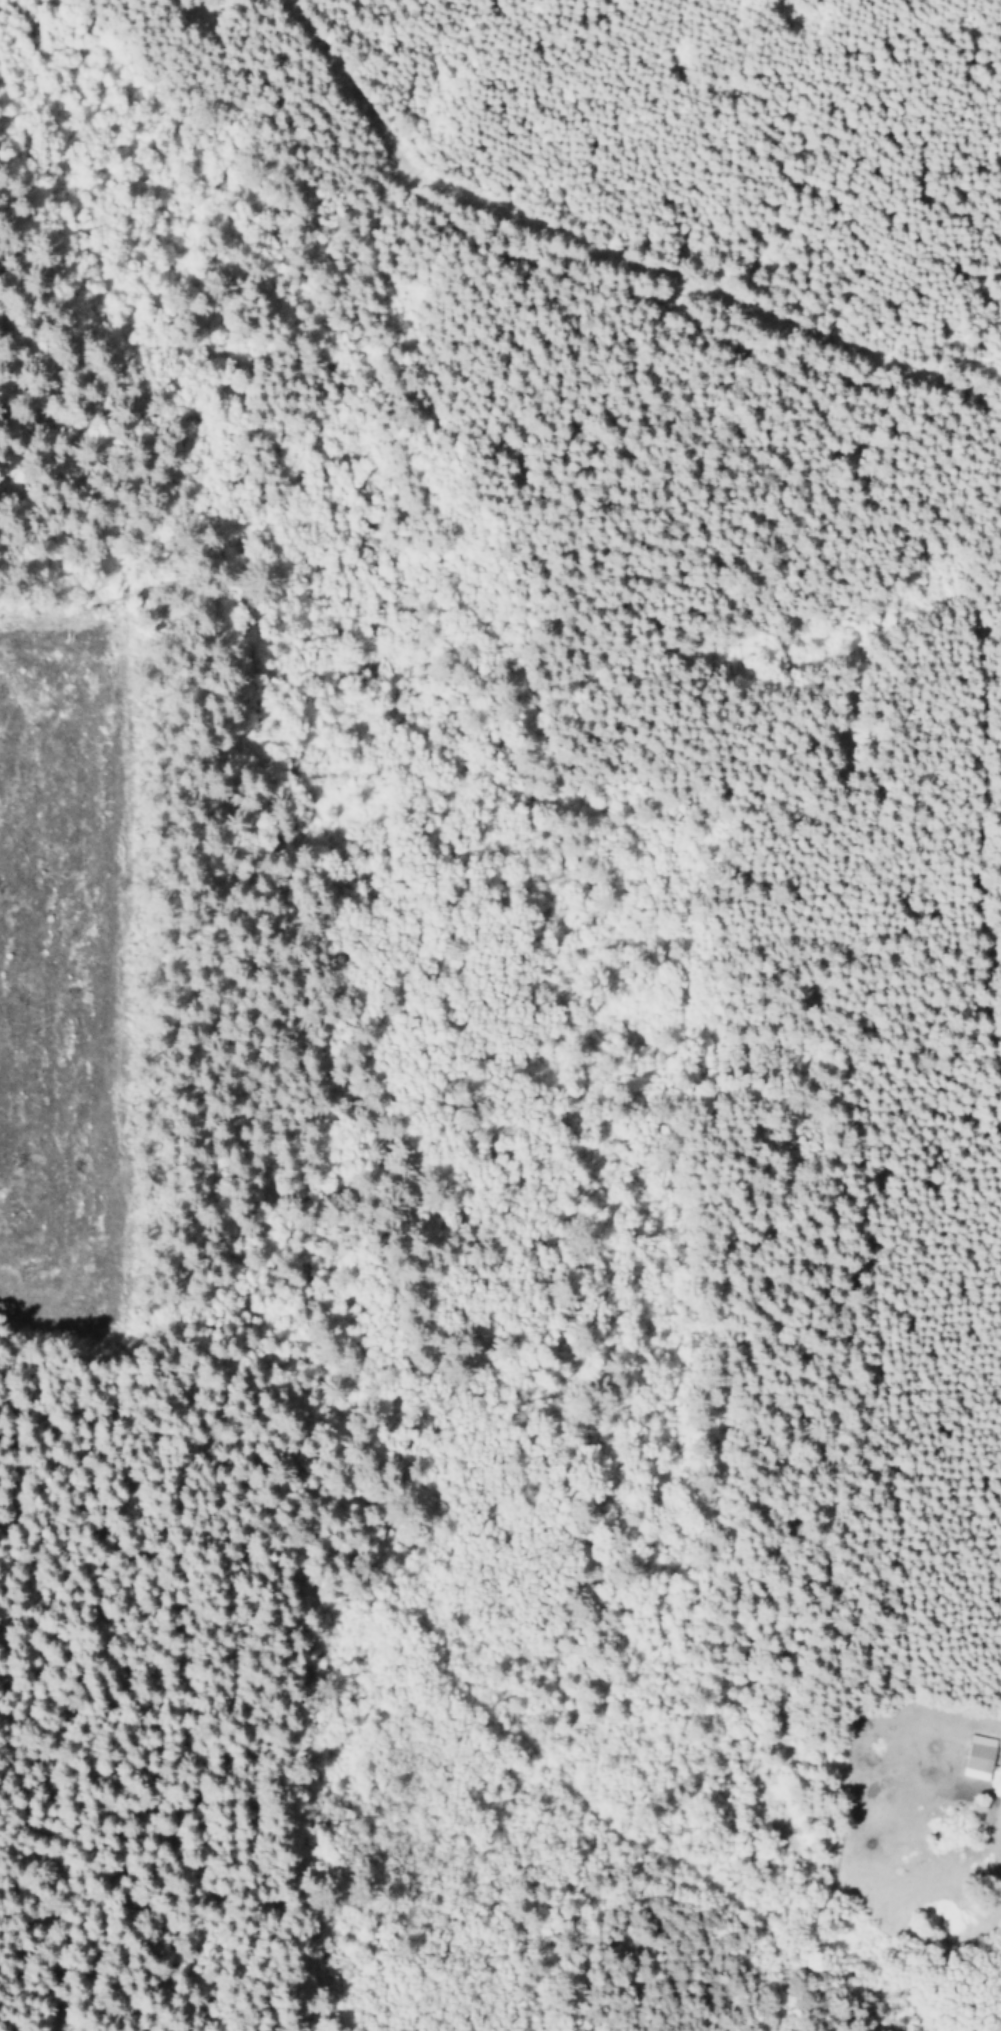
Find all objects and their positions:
road: (916, 499)
road: (114, 956)
road: (2, 1243)
road: (499, 1716)
road: (27, 1747)
building: (979, 1756)

